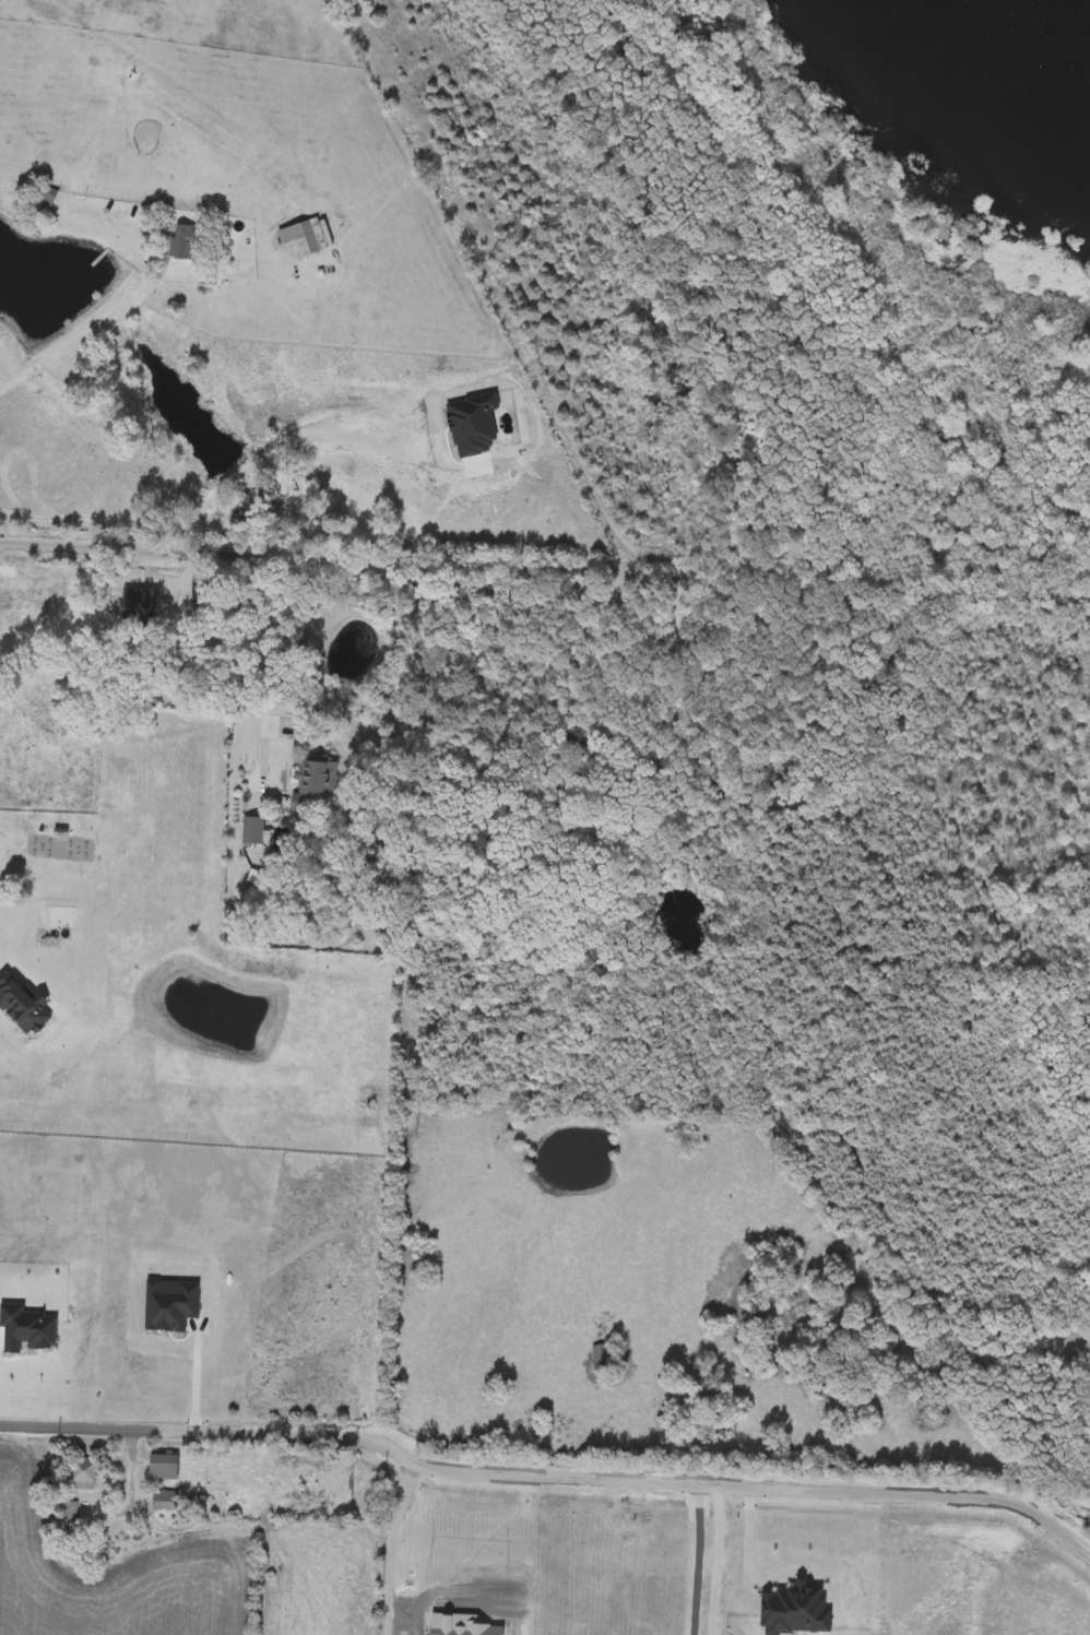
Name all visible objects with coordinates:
road: (123, 86)
building: (44, 203)
building: (305, 238)
building: (183, 245)
road: (117, 301)
road: (277, 447)
road: (193, 554)
building: (200, 590)
road: (262, 676)
building: (312, 787)
park: (787, 913)
building: (602, 1358)
road: (197, 1375)
building: (163, 1470)
road: (132, 1471)
road: (548, 1473)
building: (85, 1477)
building: (166, 1503)
building: (67, 1516)
road: (391, 1542)
road: (753, 1543)
road: (696, 1557)
road: (715, 1557)

